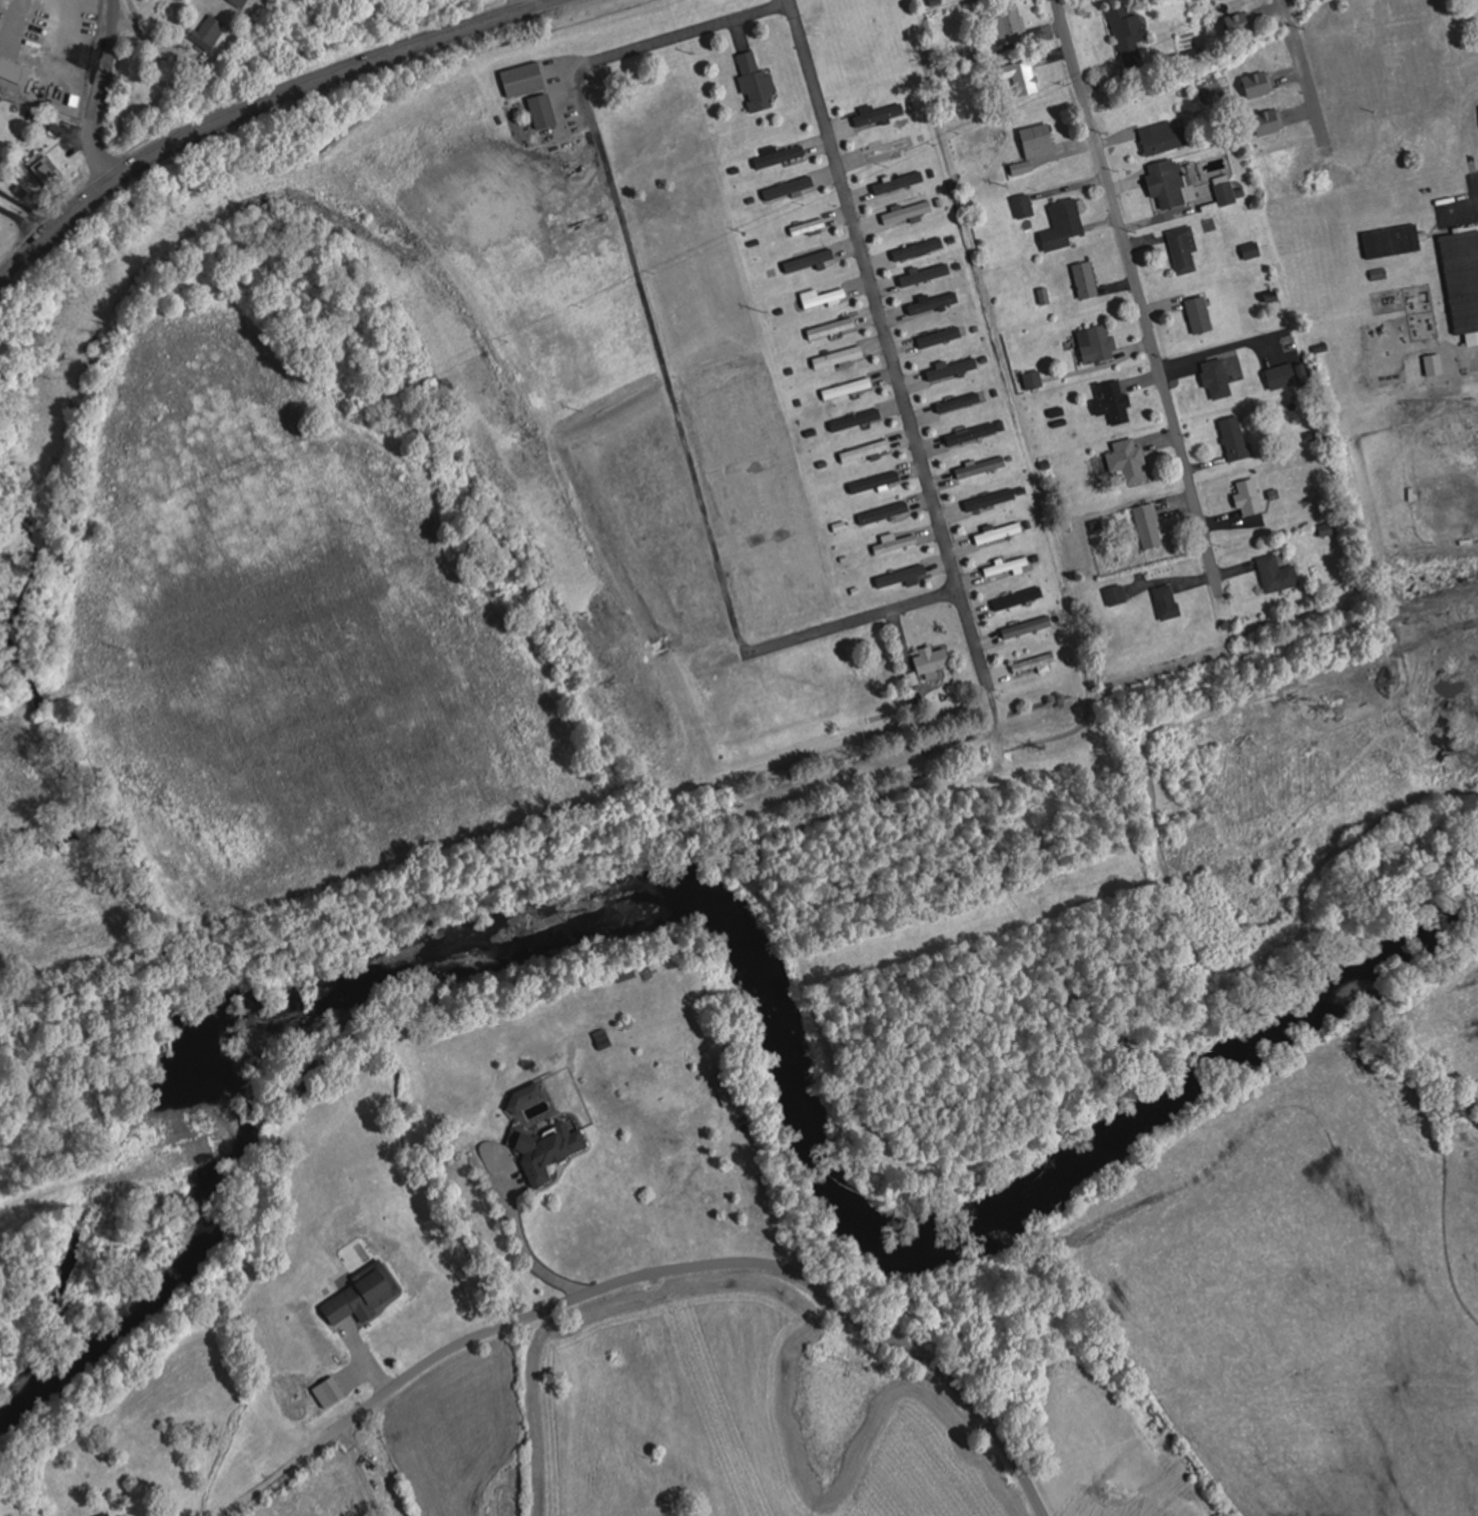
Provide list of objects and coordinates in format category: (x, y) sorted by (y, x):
building: (237, 3)
building: (1240, 23)
building: (1007, 24)
building: (1128, 29)
building: (207, 33)
road: (1298, 58)
building: (1023, 78)
building: (522, 80)
building: (755, 84)
road: (102, 92)
road: (257, 103)
building: (542, 112)
building: (877, 114)
building: (1035, 137)
building: (1163, 138)
building: (888, 148)
building: (779, 157)
building: (44, 173)
building: (898, 183)
building: (1167, 183)
building: (788, 190)
building: (1226, 194)
building: (1023, 207)
building: (907, 213)
road: (26, 215)
building: (818, 224)
building: (1062, 227)
building: (1393, 242)
building: (917, 250)
building: (1183, 250)
building: (1251, 251)
building: (925, 276)
building: (1085, 281)
building: (1463, 281)
road: (1138, 295)
building: (821, 297)
building: (932, 304)
building: (1199, 315)
building: (831, 328)
road: (886, 337)
building: (939, 337)
building: (1096, 342)
building: (838, 357)
road: (660, 363)
building: (1434, 364)
building: (952, 369)
building: (1284, 375)
building: (1217, 378)
building: (1033, 379)
building: (847, 388)
building: (1113, 400)
building: (958, 402)
building: (855, 419)
building: (971, 433)
building: (1235, 437)
building: (865, 450)
building: (1128, 459)
building: (981, 467)
building: (874, 481)
building: (1249, 496)
building: (990, 498)
building: (1148, 525)
building: (1328, 528)
building: (999, 532)
building: (894, 542)
building: (1009, 565)
building: (1277, 573)
building: (903, 576)
building: (1116, 595)
building: (1018, 598)
building: (1167, 601)
building: (1027, 627)
building: (932, 660)
building: (1034, 662)
river: (741, 934)
building: (547, 1150)
road: (651, 1279)
building: (101, 1515)

